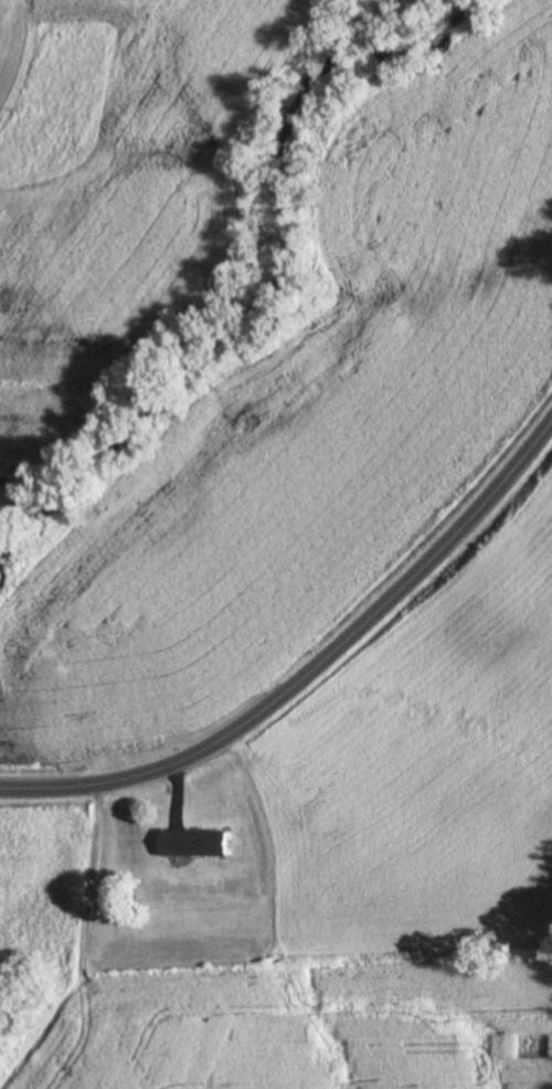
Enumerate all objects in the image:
road: (311, 666)
building: (195, 840)

